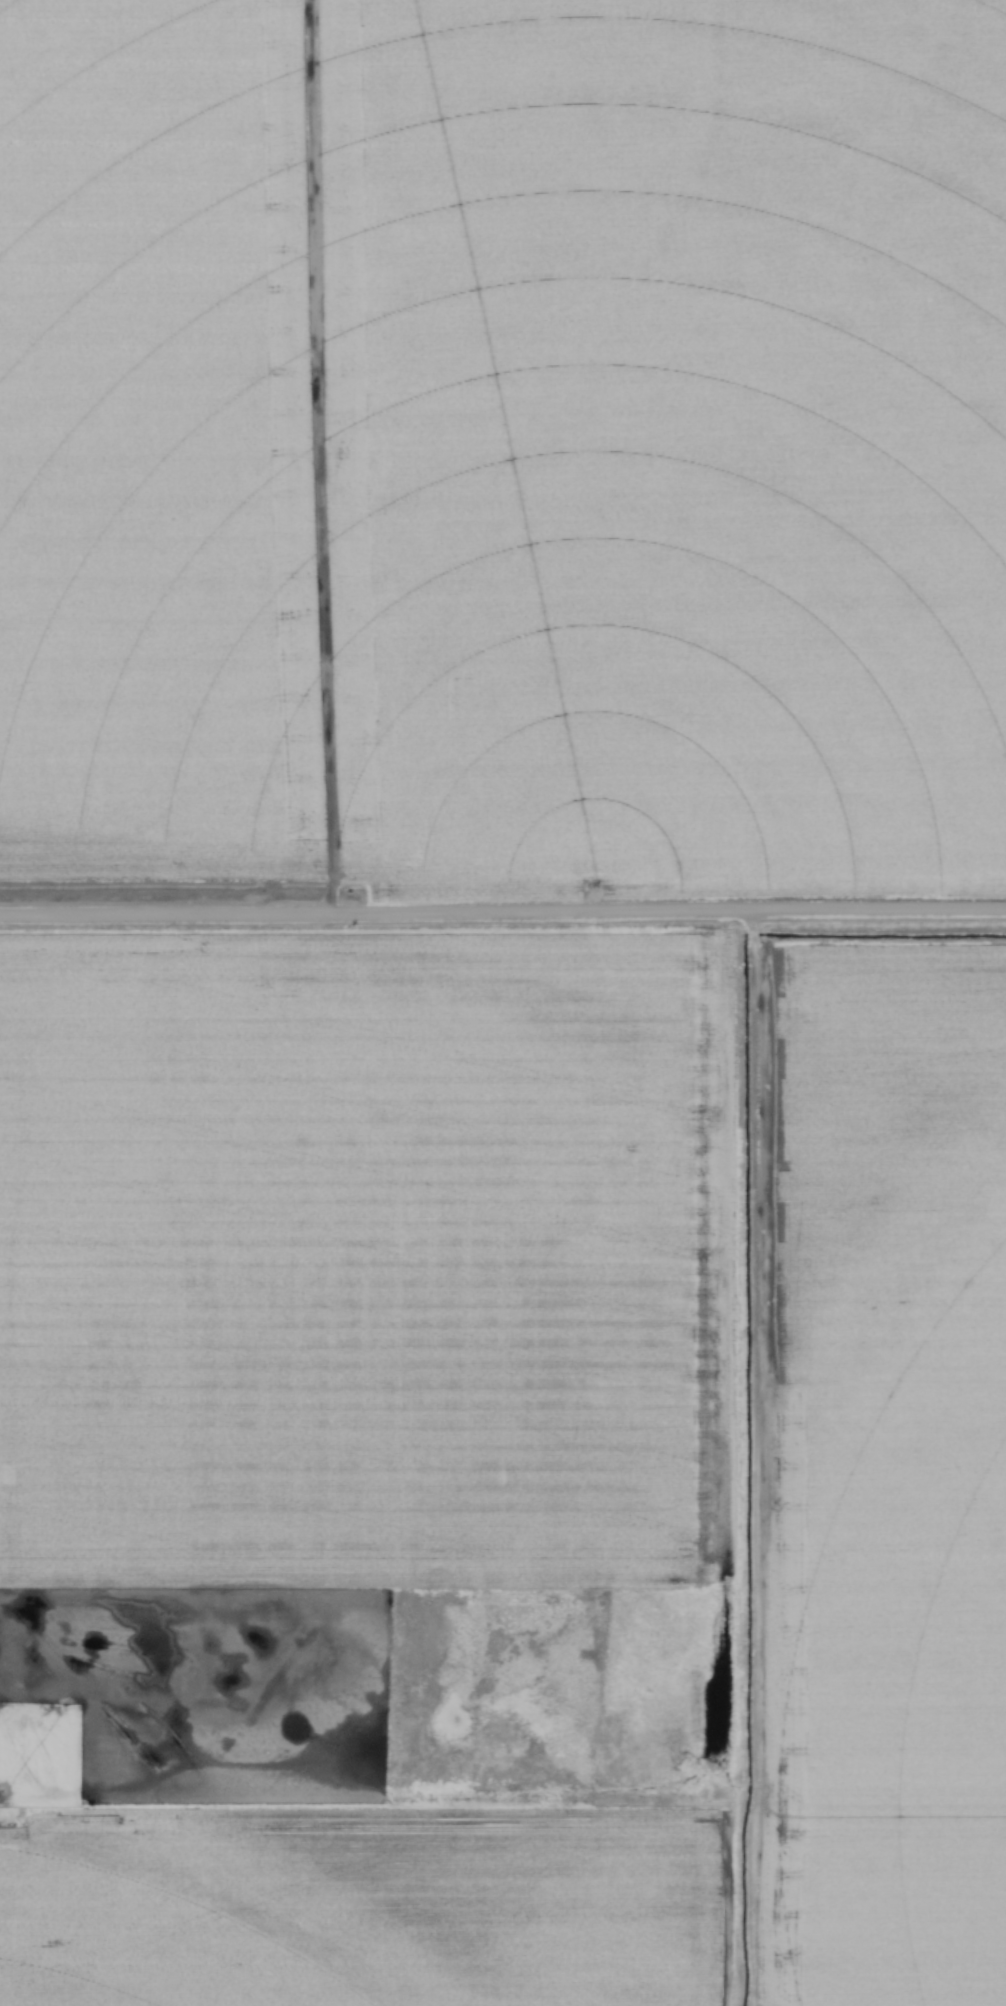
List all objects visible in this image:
road: (503, 912)

